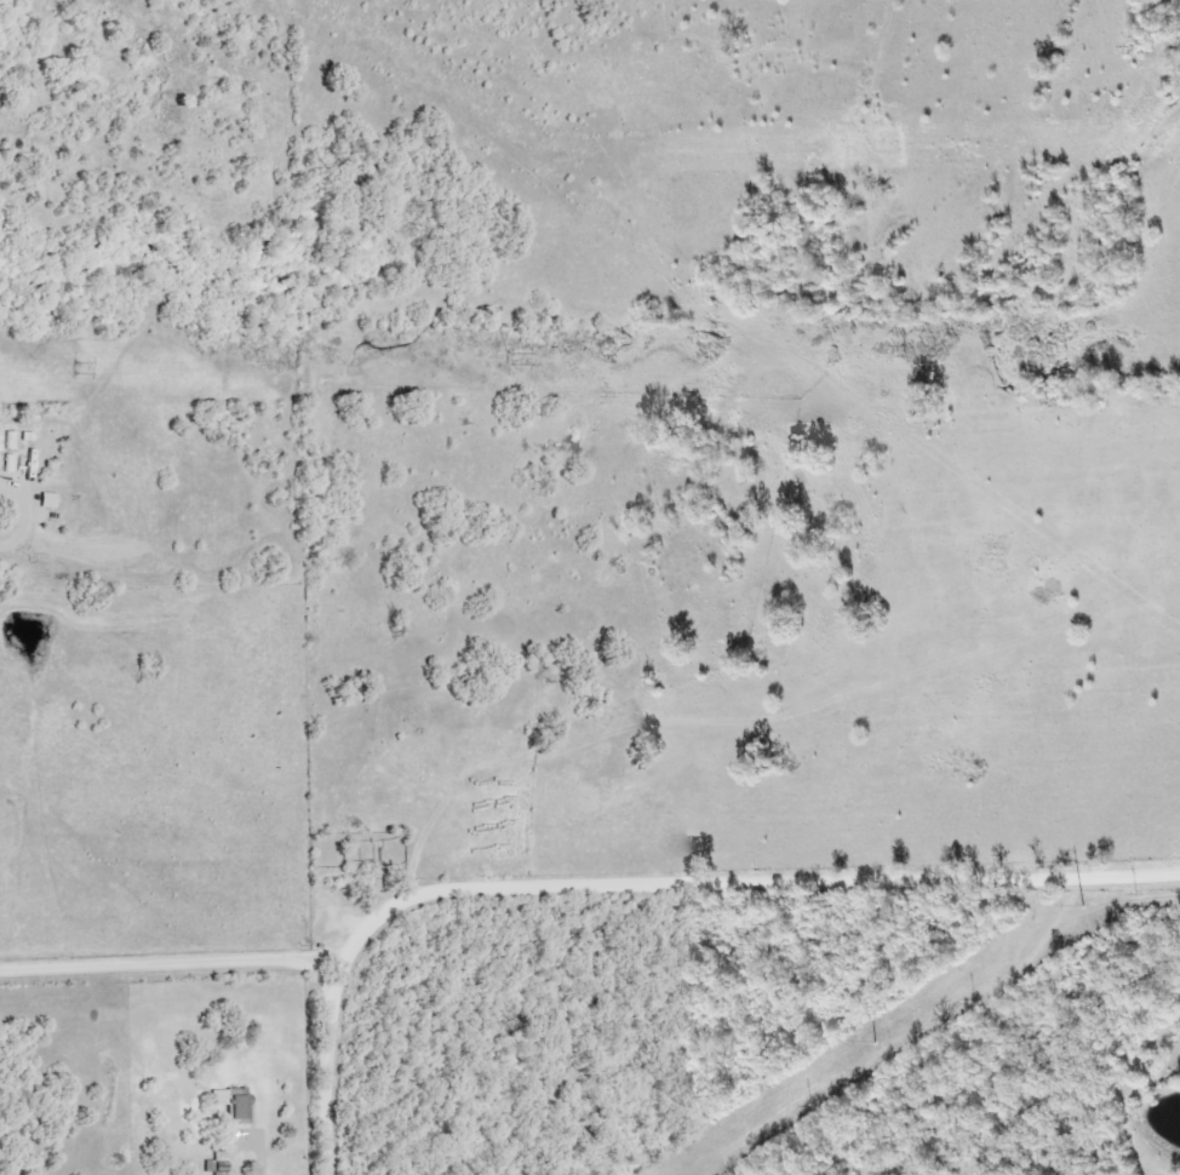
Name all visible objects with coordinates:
power tower: (904, 351)
power tower: (508, 361)
power tower: (71, 368)
road: (638, 885)
power tower: (1082, 909)
road: (170, 962)
power tower: (875, 1044)
building: (235, 1104)
building: (217, 1164)

